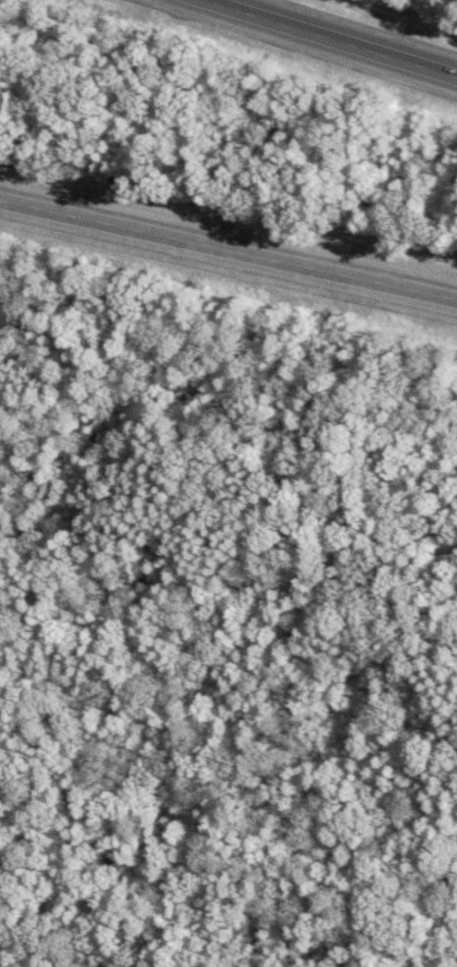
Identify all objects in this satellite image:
road: (329, 38)
road: (228, 250)
road: (234, 351)
road: (220, 584)
road: (229, 807)
road: (439, 952)

